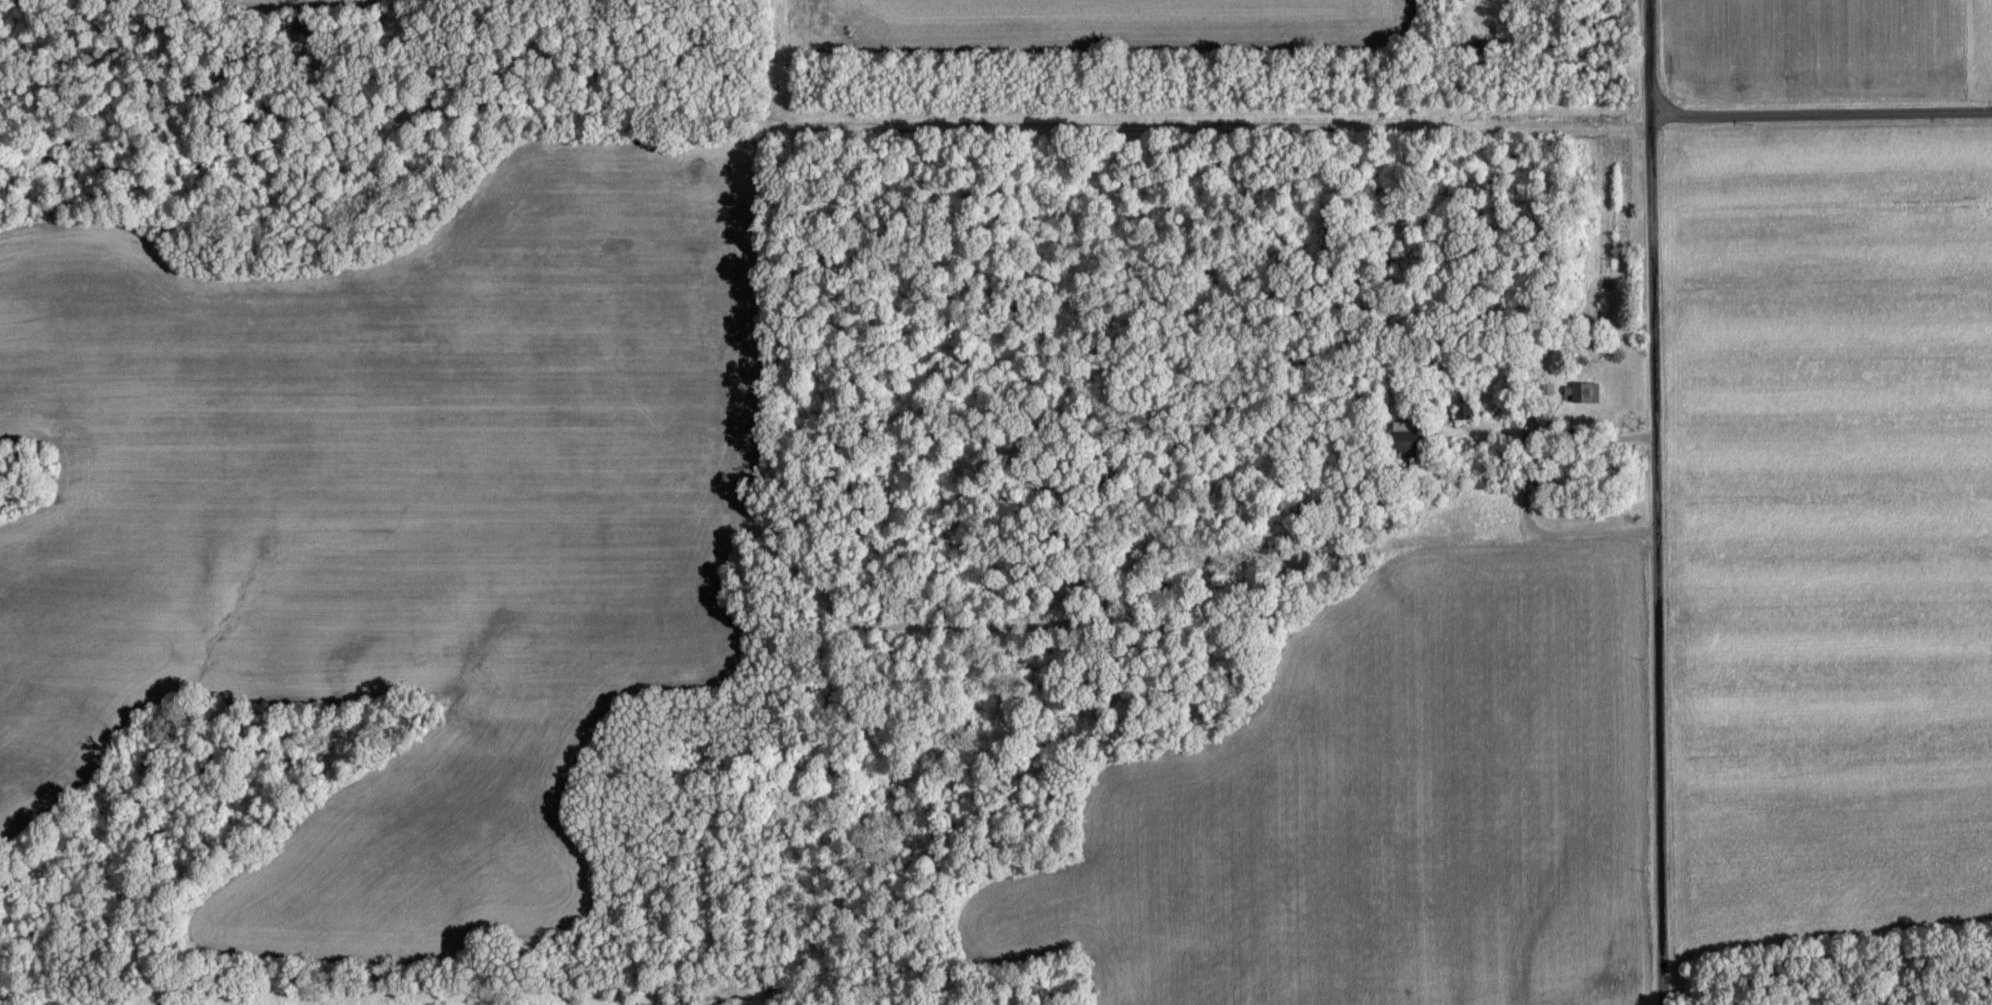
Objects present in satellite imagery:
road: (1823, 118)
building: (1581, 394)
building: (1464, 410)
building: (1406, 437)
road: (1528, 494)
road: (1660, 502)

